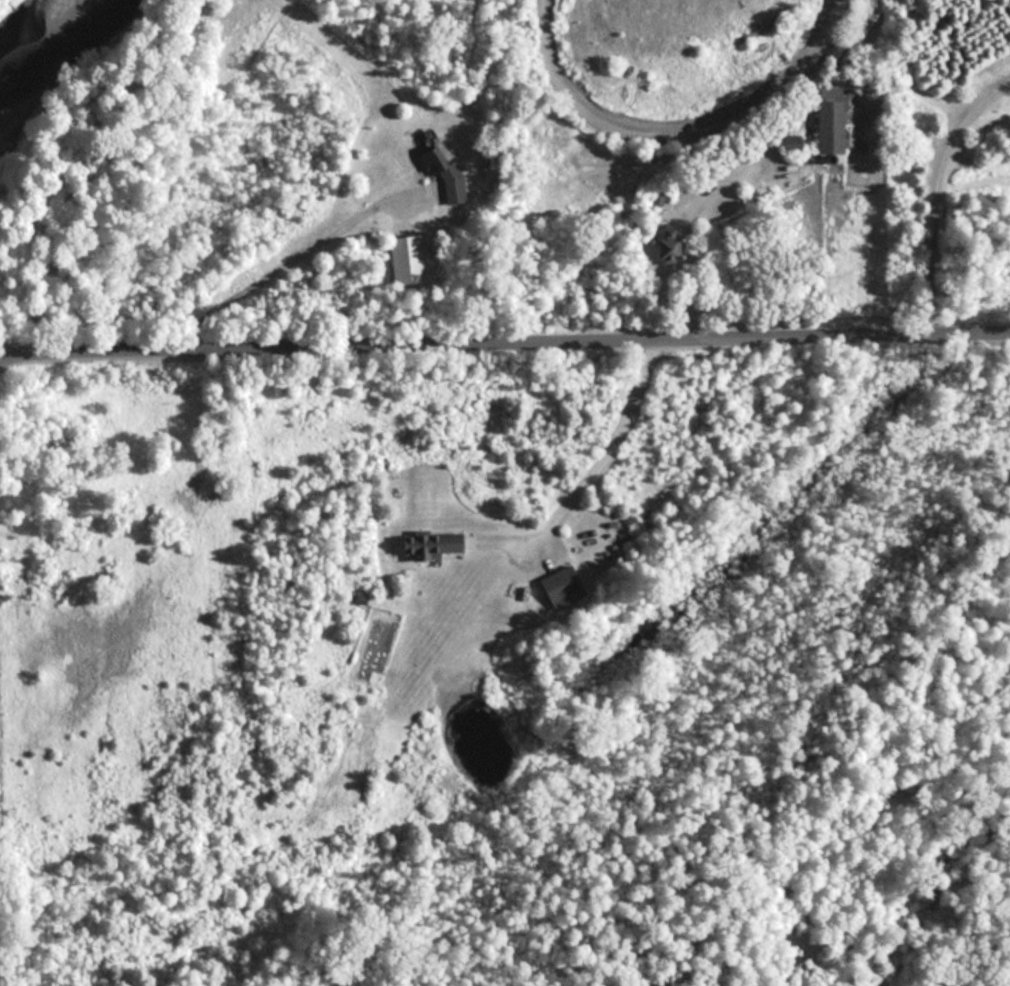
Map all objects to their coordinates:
river: (42, 41)
building: (823, 126)
building: (440, 174)
road: (932, 188)
road: (684, 230)
building: (661, 242)
building: (404, 259)
road: (280, 267)
road: (504, 353)
road: (587, 475)
building: (427, 543)
building: (558, 587)

